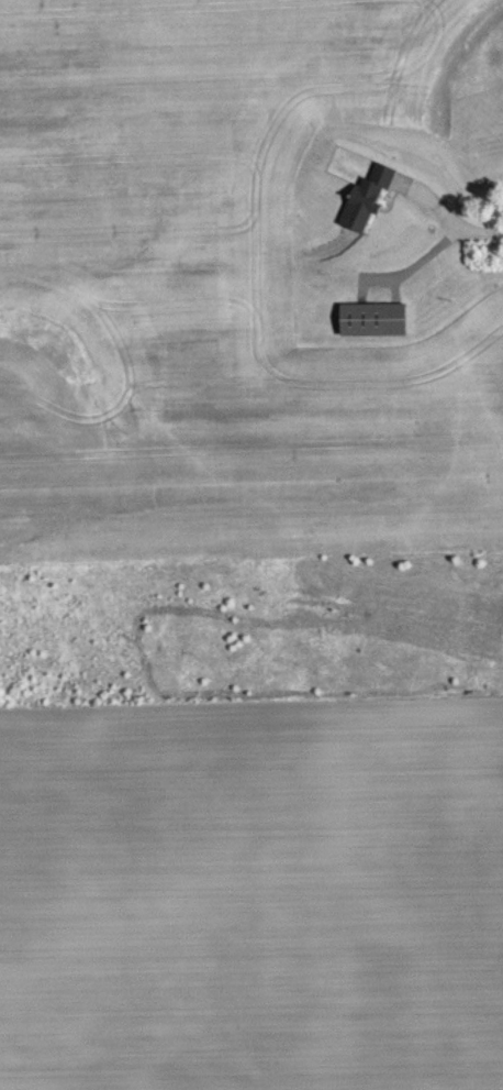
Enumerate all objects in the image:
building: (366, 211)
road: (483, 229)

